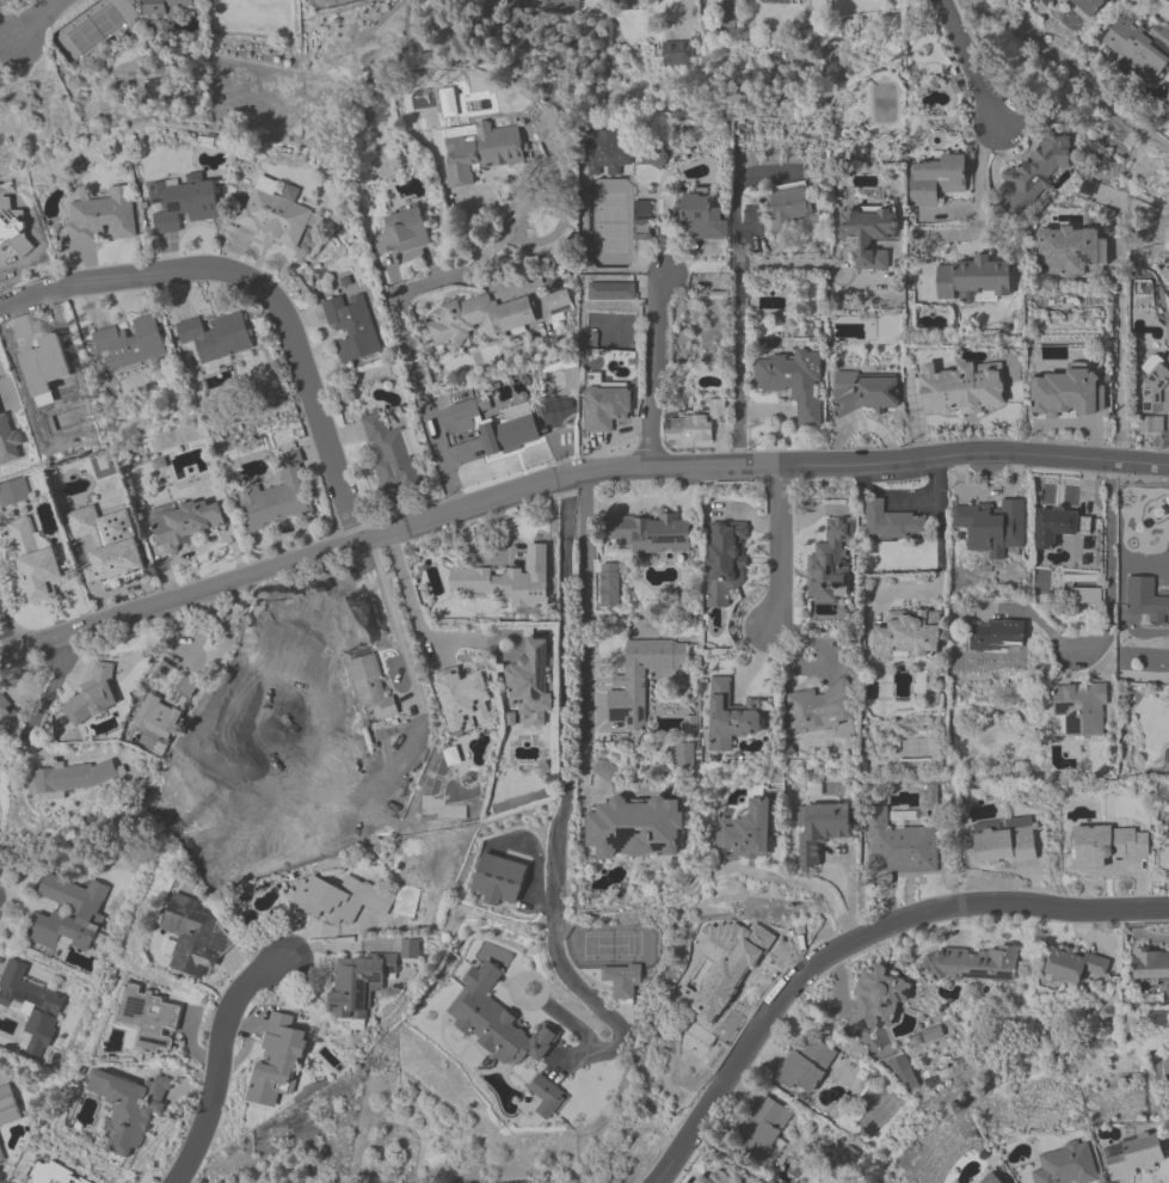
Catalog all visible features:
building: (786, 1)
building: (167, 6)
building: (1088, 6)
road: (38, 22)
road: (4, 38)
building: (1139, 47)
building: (676, 54)
road: (970, 62)
building: (480, 151)
building: (603, 153)
building: (1034, 173)
building: (936, 182)
road: (979, 201)
building: (183, 204)
building: (787, 207)
building: (276, 215)
building: (641, 215)
building: (701, 217)
building: (101, 219)
road: (740, 229)
building: (401, 234)
building: (867, 237)
building: (1068, 252)
road: (790, 263)
building: (973, 282)
road: (260, 288)
building: (610, 293)
building: (555, 300)
building: (478, 319)
building: (351, 326)
building: (215, 337)
building: (128, 344)
road: (407, 345)
road: (738, 354)
road: (1118, 367)
road: (654, 370)
building: (793, 382)
building: (1155, 387)
building: (961, 388)
building: (865, 392)
building: (1065, 396)
building: (607, 406)
building: (494, 427)
road: (860, 427)
building: (1151, 427)
building: (687, 428)
building: (390, 453)
road: (571, 473)
road: (937, 484)
road: (584, 486)
building: (13, 492)
building: (278, 496)
road: (650, 502)
building: (891, 522)
building: (84, 523)
building: (185, 525)
building: (992, 526)
building: (1058, 526)
building: (647, 534)
road: (779, 546)
road: (937, 548)
building: (35, 562)
building: (113, 562)
building: (831, 562)
building: (725, 564)
building: (506, 582)
road: (407, 593)
building: (1087, 596)
building: (1145, 603)
road: (1108, 605)
road: (584, 623)
road: (395, 626)
building: (907, 636)
building: (995, 638)
building: (165, 673)
building: (640, 680)
building: (530, 682)
building: (370, 685)
building: (184, 686)
road: (48, 692)
building: (91, 700)
building: (463, 700)
building: (819, 710)
building: (1081, 710)
building: (10, 711)
building: (158, 718)
building: (728, 719)
building: (1167, 756)
building: (0, 773)
building: (73, 780)
road: (564, 799)
building: (634, 829)
building: (819, 830)
building: (745, 834)
building: (1004, 842)
building: (900, 844)
building: (1106, 846)
building: (497, 881)
road: (807, 884)
building: (340, 900)
building: (69, 915)
building: (190, 936)
road: (854, 939)
building: (408, 950)
building: (973, 964)
building: (1073, 966)
building: (1150, 966)
building: (622, 980)
building: (724, 981)
building: (358, 985)
building: (876, 999)
building: (30, 1007)
building: (150, 1019)
building: (496, 1022)
building: (277, 1060)
road: (219, 1061)
building: (807, 1066)
building: (903, 1073)
building: (546, 1096)
building: (8, 1105)
building: (129, 1110)
building: (761, 1129)
building: (1, 1157)
building: (1133, 1157)
building: (1066, 1164)
building: (53, 1173)
building: (715, 1178)
building: (990, 1178)

